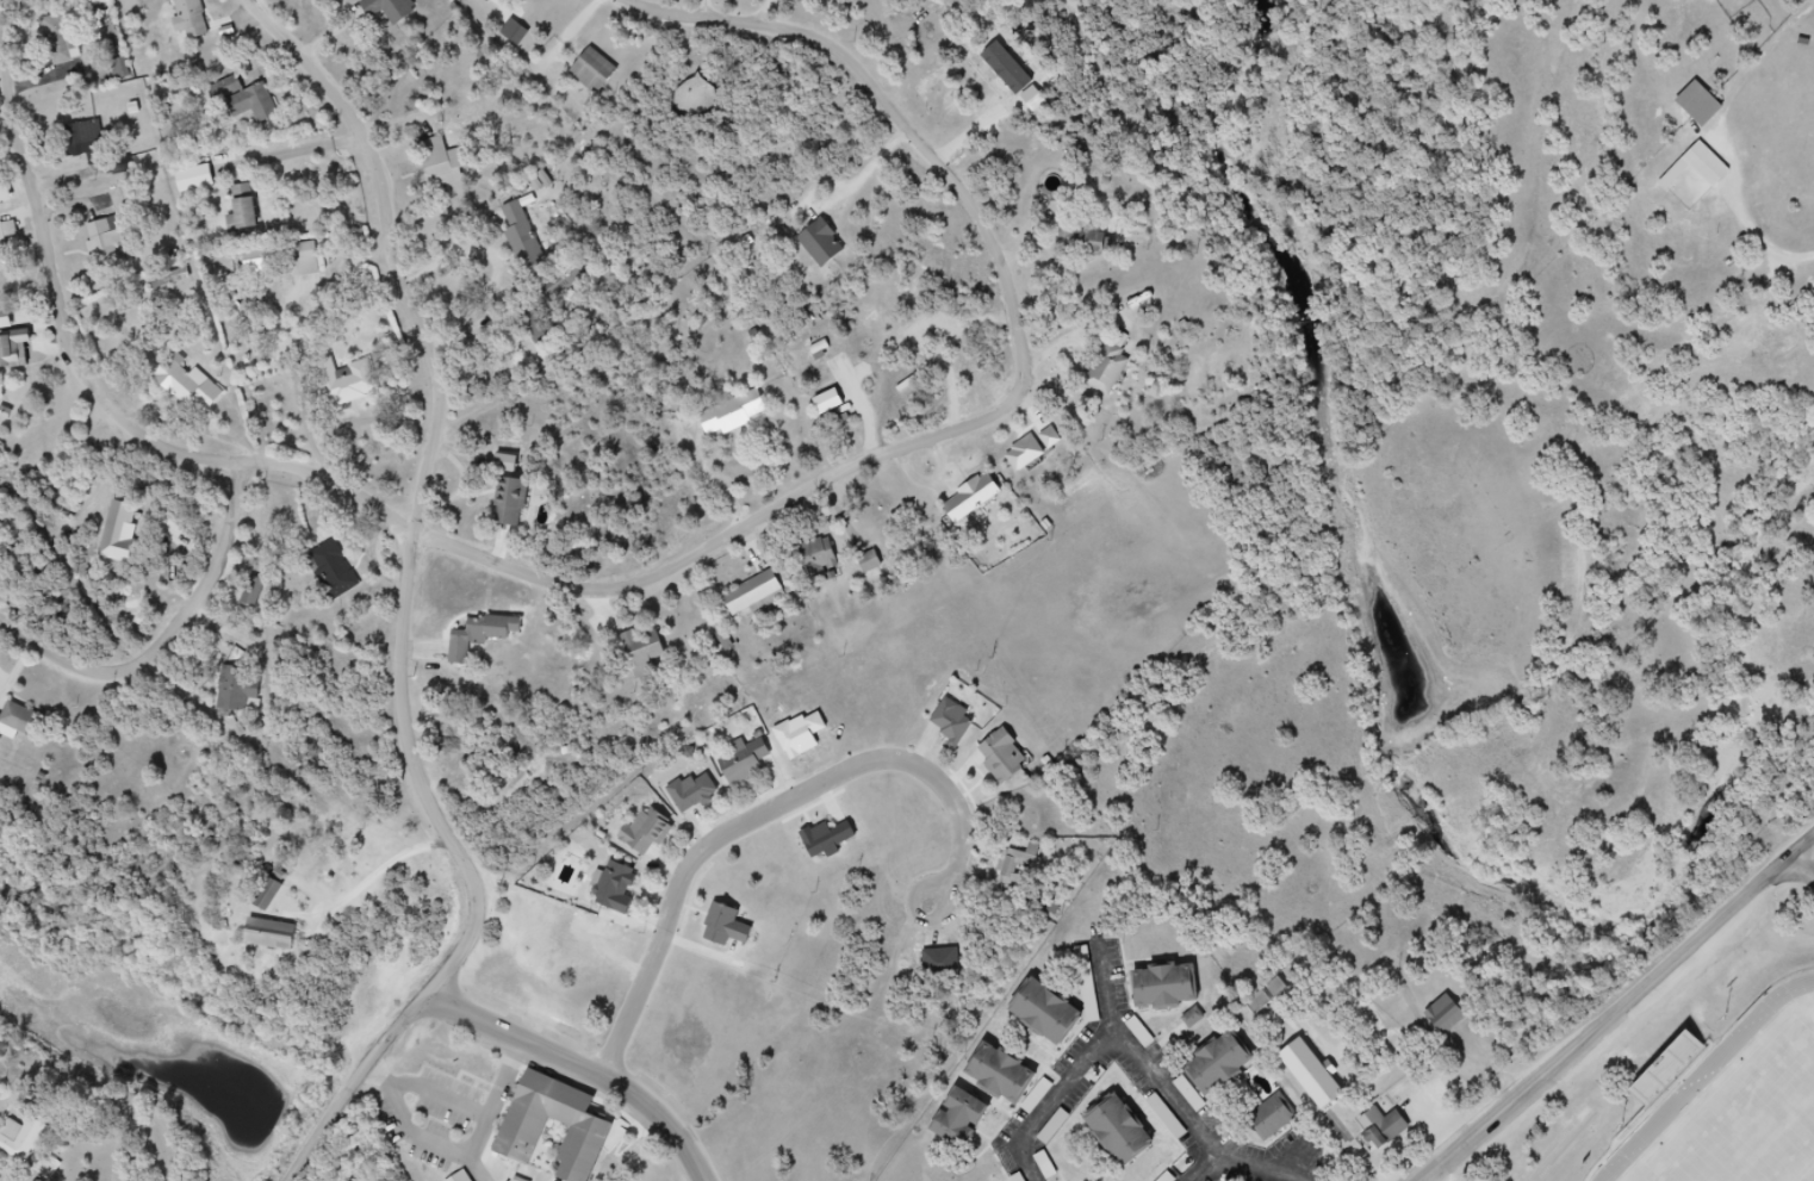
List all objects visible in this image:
building: (487, 0)
building: (493, 1)
building: (397, 13)
building: (201, 20)
building: (523, 39)
building: (60, 41)
building: (75, 42)
building: (604, 75)
building: (259, 101)
building: (1708, 112)
road: (914, 124)
building: (85, 137)
building: (99, 164)
building: (449, 169)
building: (1704, 174)
building: (203, 184)
building: (4, 211)
building: (253, 217)
building: (533, 243)
building: (117, 244)
road: (1766, 248)
building: (833, 253)
building: (1094, 253)
building: (10, 255)
building: (260, 261)
building: (315, 265)
building: (271, 272)
building: (564, 284)
building: (18, 347)
building: (1114, 379)
building: (356, 387)
building: (199, 390)
building: (837, 405)
building: (741, 417)
building: (1050, 437)
building: (1040, 458)
road: (379, 499)
building: (521, 502)
building: (980, 506)
road: (416, 553)
building: (830, 562)
building: (346, 579)
building: (251, 597)
building: (762, 597)
road: (172, 634)
building: (490, 644)
building: (652, 653)
building: (248, 695)
building: (2, 723)
building: (31, 723)
building: (961, 727)
building: (1012, 763)
building: (751, 766)
building: (700, 797)
road: (757, 819)
building: (654, 831)
building: (835, 843)
road: (1803, 868)
building: (1017, 874)
road: (384, 878)
building: (627, 891)
building: (269, 896)
road: (931, 921)
building: (735, 927)
building: (280, 943)
road: (1117, 995)
building: (1173, 995)
building: (1260, 1003)
road: (1622, 1012)
building: (1056, 1023)
building: (1452, 1026)
building: (1142, 1034)
road: (1112, 1046)
road: (580, 1067)
building: (1669, 1071)
building: (1230, 1077)
building: (1011, 1081)
track: (1710, 1081)
building: (1321, 1084)
stadium: (1723, 1090)
building: (1167, 1118)
park: (1751, 1121)
building: (1276, 1123)
building: (971, 1124)
building: (590, 1130)
building: (1391, 1130)
building: (1127, 1136)
road: (319, 1140)
building: (26, 1152)
building: (49, 1169)
road: (1271, 1170)
road: (1212, 1171)
building: (1167, 1177)

